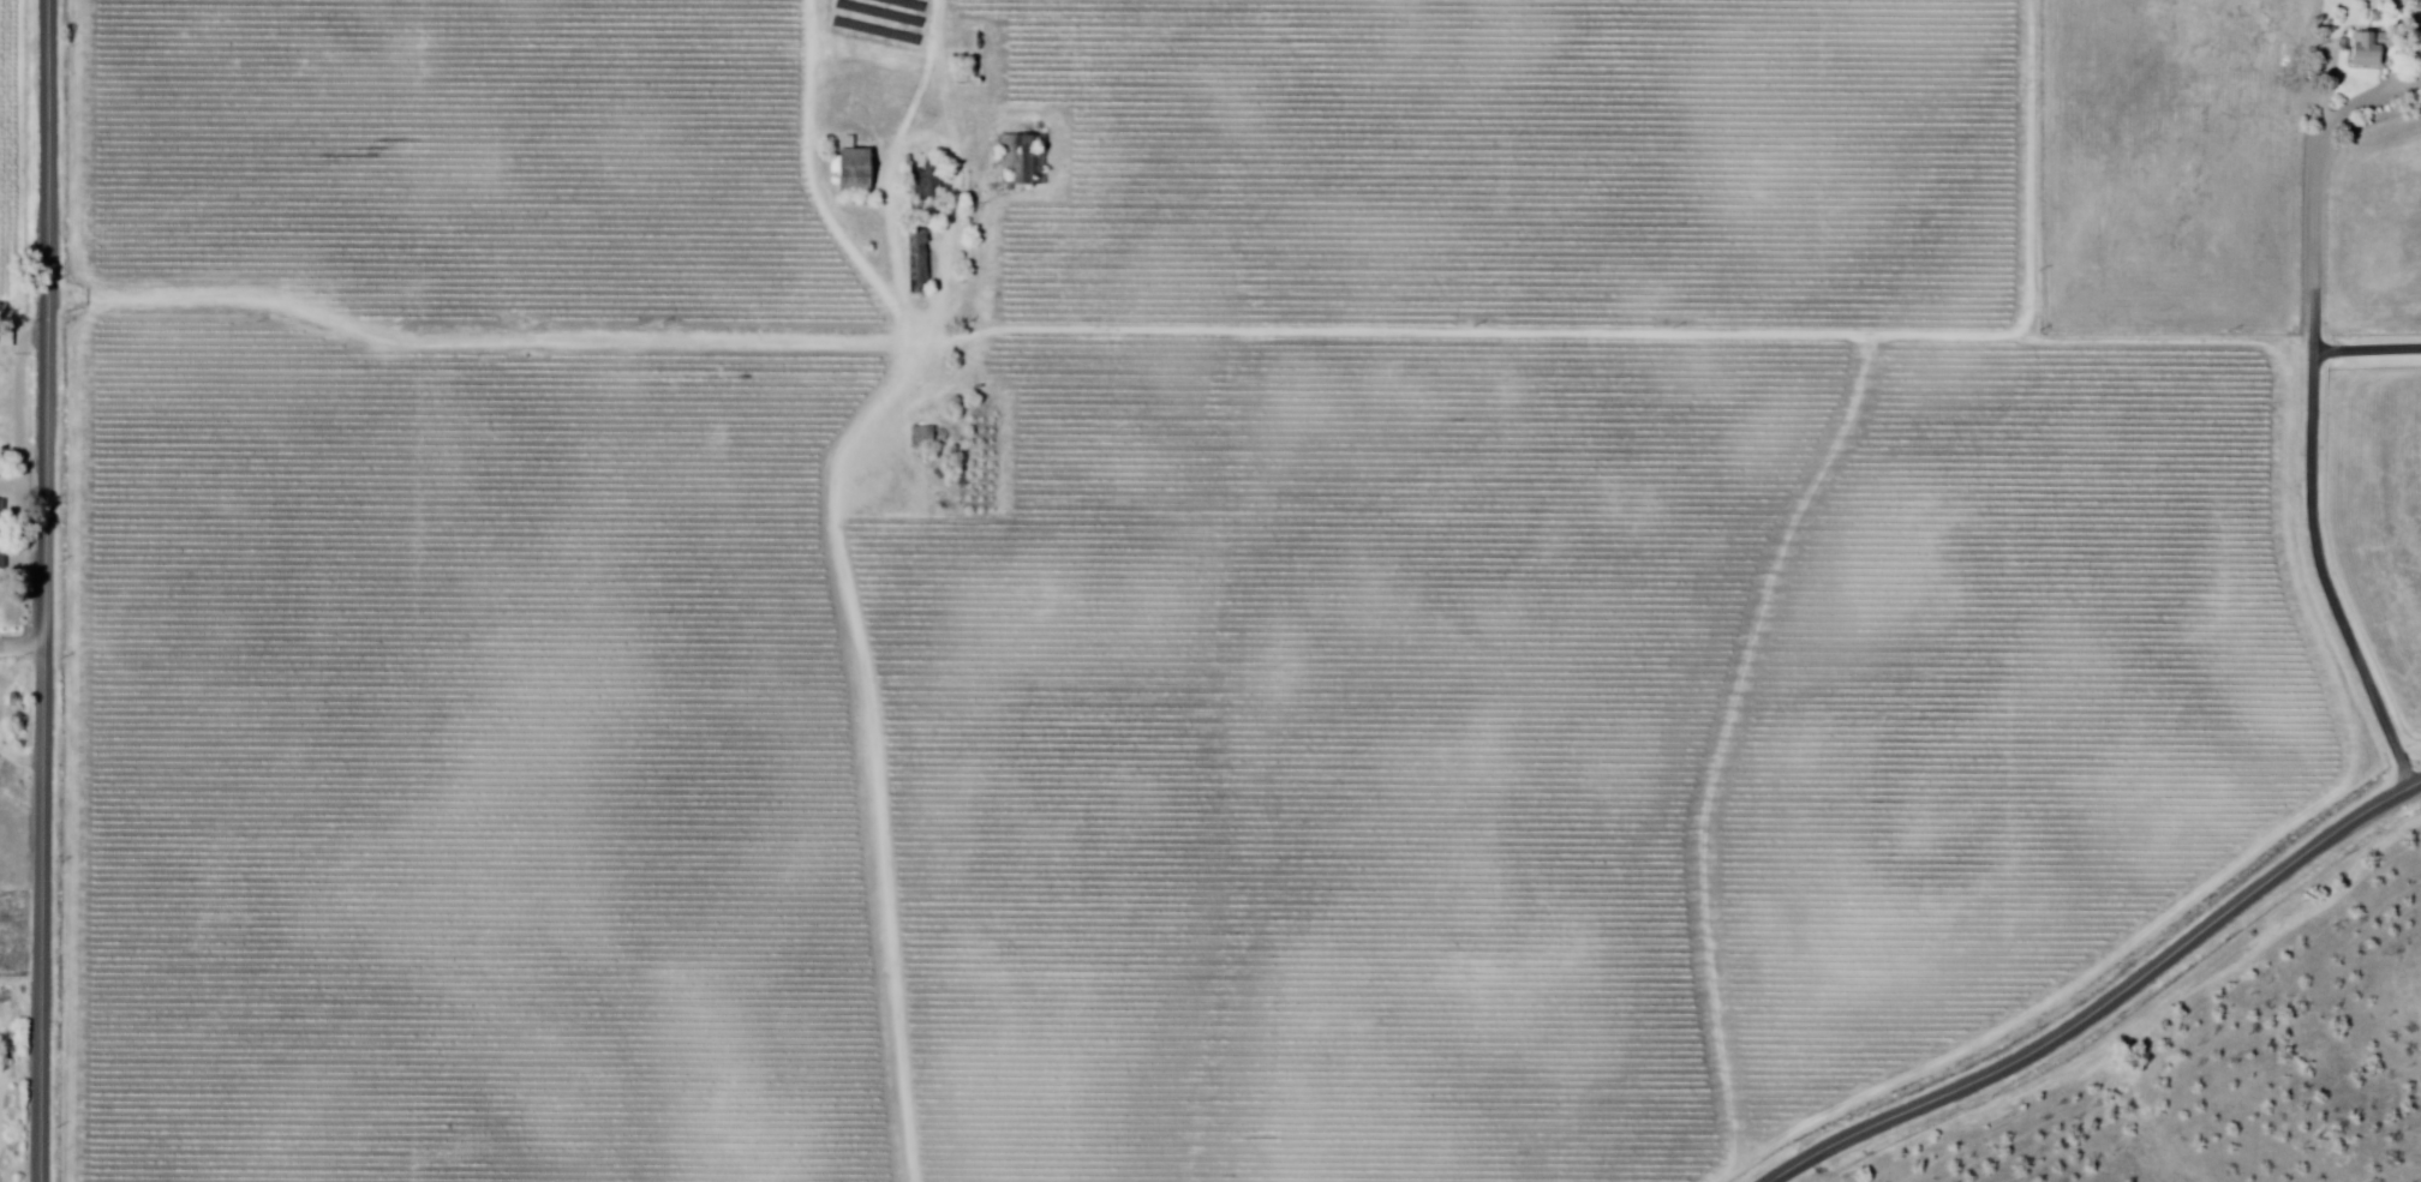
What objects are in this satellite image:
building: (2375, 14)
building: (2416, 28)
building: (2365, 49)
building: (1023, 158)
building: (859, 170)
building: (926, 182)
building: (920, 263)
building: (8, 337)
road: (910, 343)
road: (2367, 352)
building: (5, 395)
building: (925, 438)
road: (2315, 457)
building: (883, 479)
building: (898, 506)
building: (4, 535)
road: (46, 590)
road: (23, 649)
road: (20, 760)
road: (2105, 1000)

